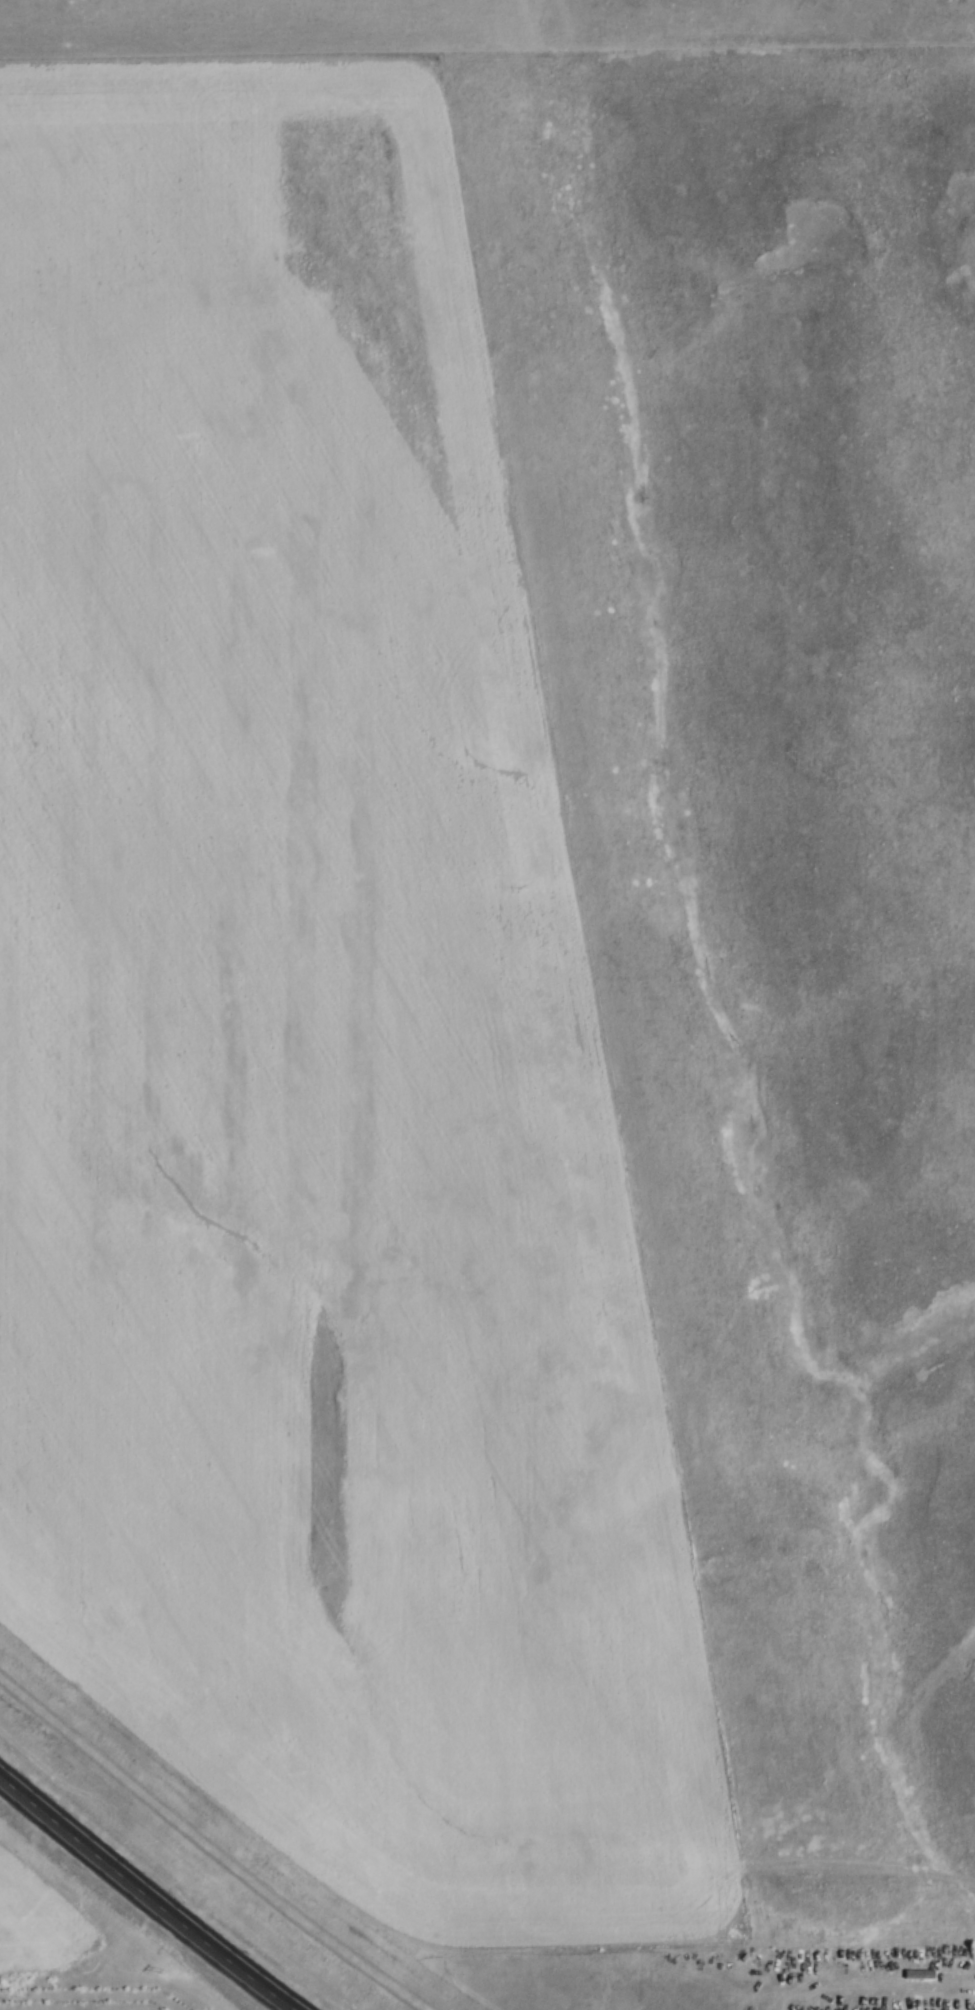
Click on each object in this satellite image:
road: (216, 1846)
road: (147, 1894)
building: (919, 1976)

